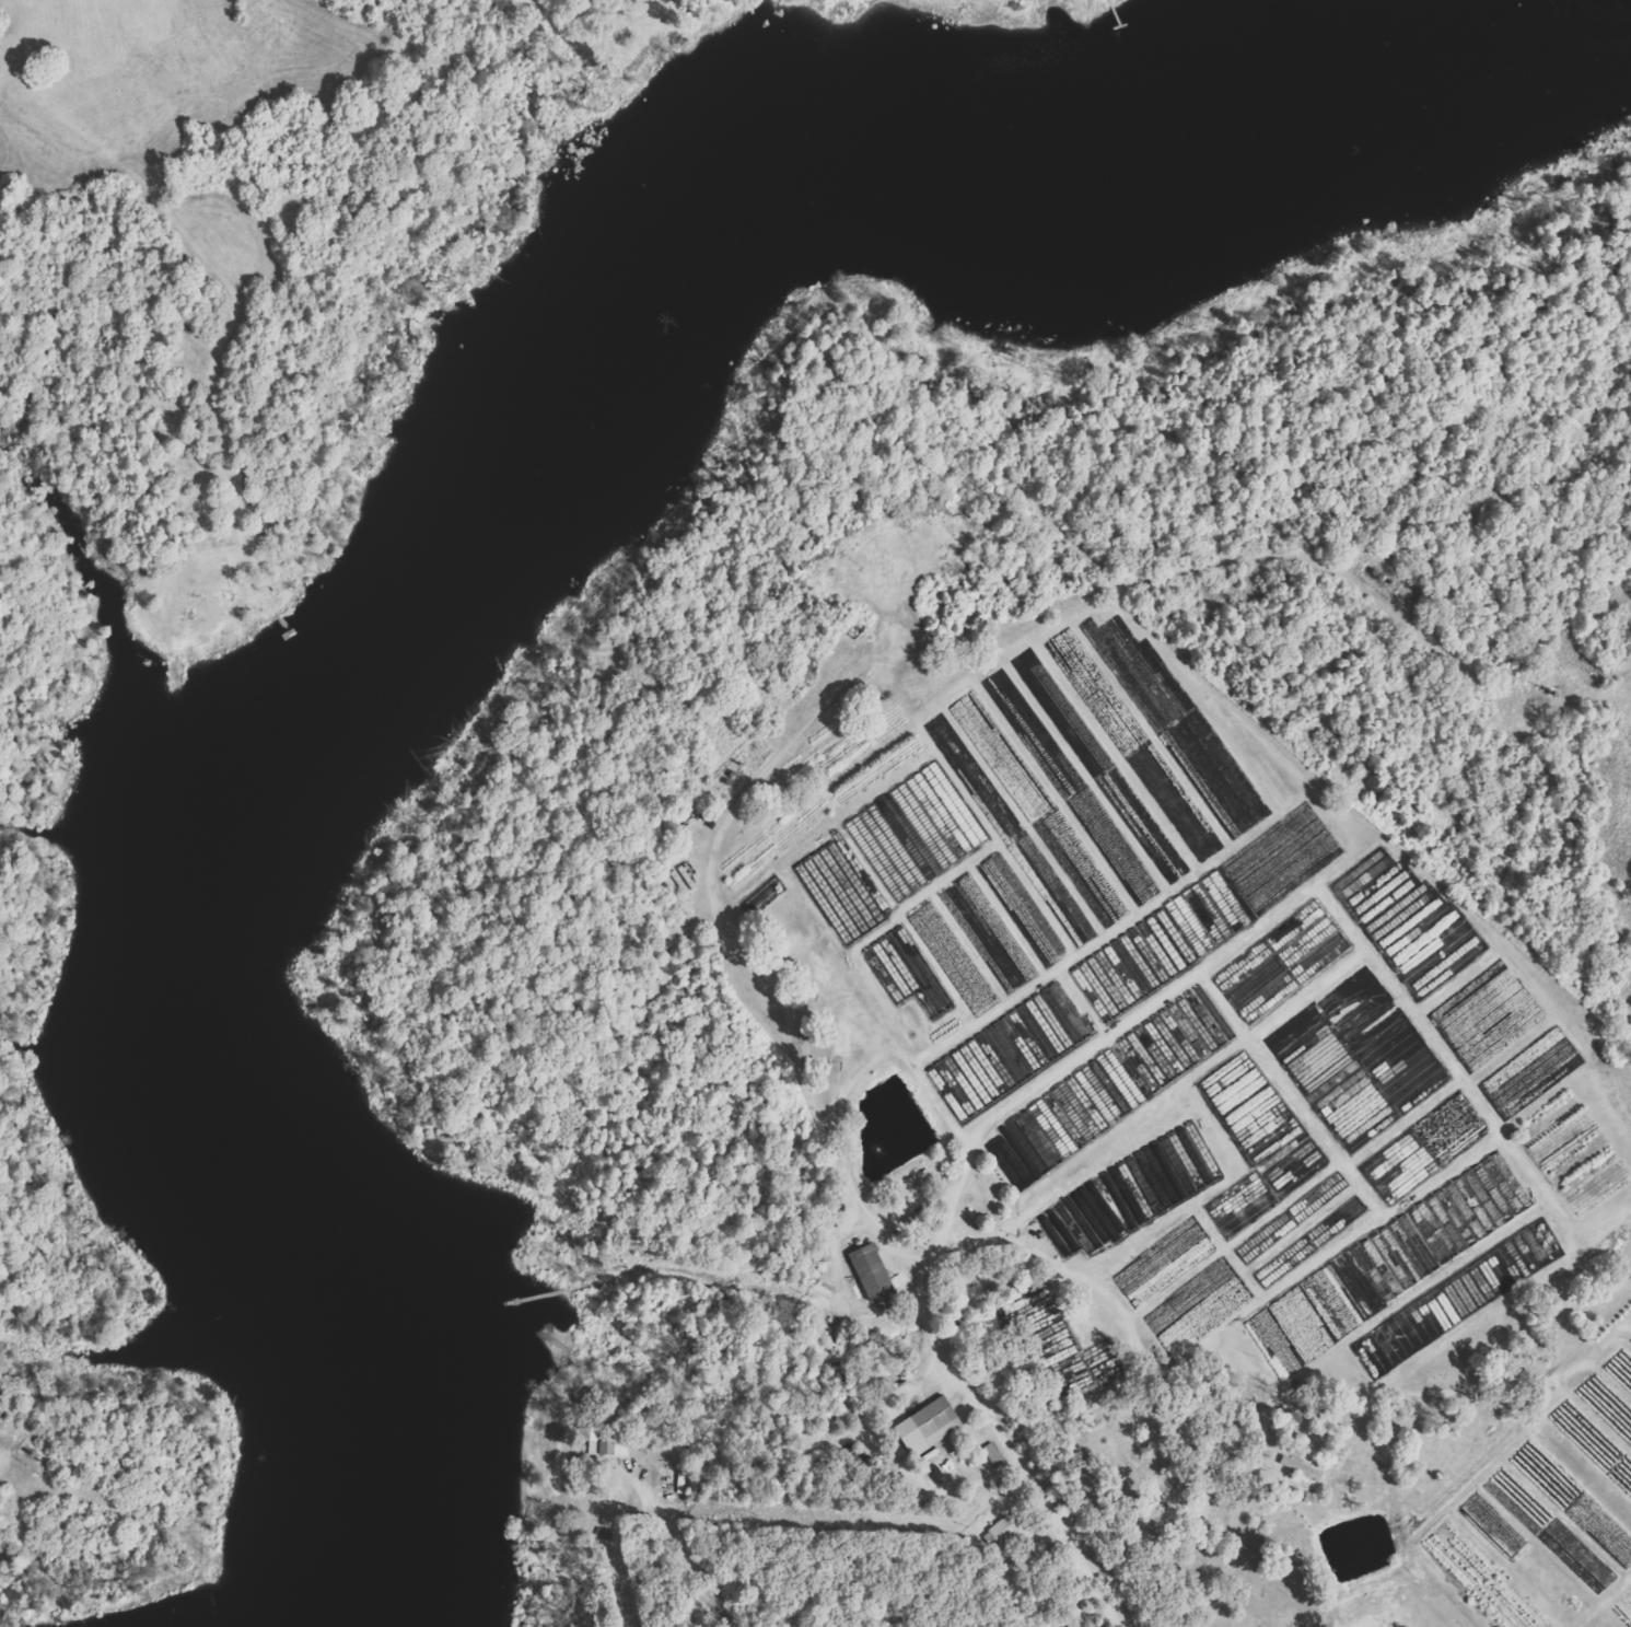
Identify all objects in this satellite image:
building: (916, 832)
building: (840, 892)
building: (1161, 946)
building: (1281, 963)
building: (906, 972)
building: (1172, 1041)
building: (1011, 1049)
building: (1067, 1119)
building: (1132, 1192)
building: (1318, 1197)
building: (1350, 1211)
building: (1431, 1227)
building: (1262, 1240)
building: (1278, 1267)
building: (870, 1272)
road: (1015, 1370)
building: (927, 1427)
building: (602, 1444)
building: (993, 1455)
building: (1300, 1468)
building: (999, 1533)
road: (1002, 1585)
building: (1071, 1626)

